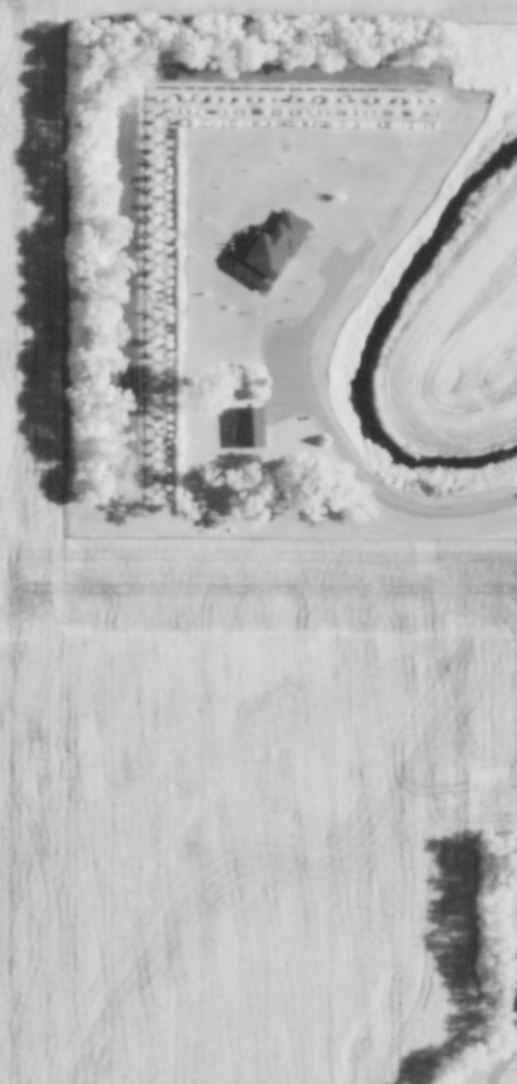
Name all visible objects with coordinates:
building: (496, 45)
building: (273, 252)
road: (278, 332)
building: (251, 429)
road: (392, 504)
building: (513, 957)
road: (508, 1055)
road: (495, 1073)
park: (513, 1076)

